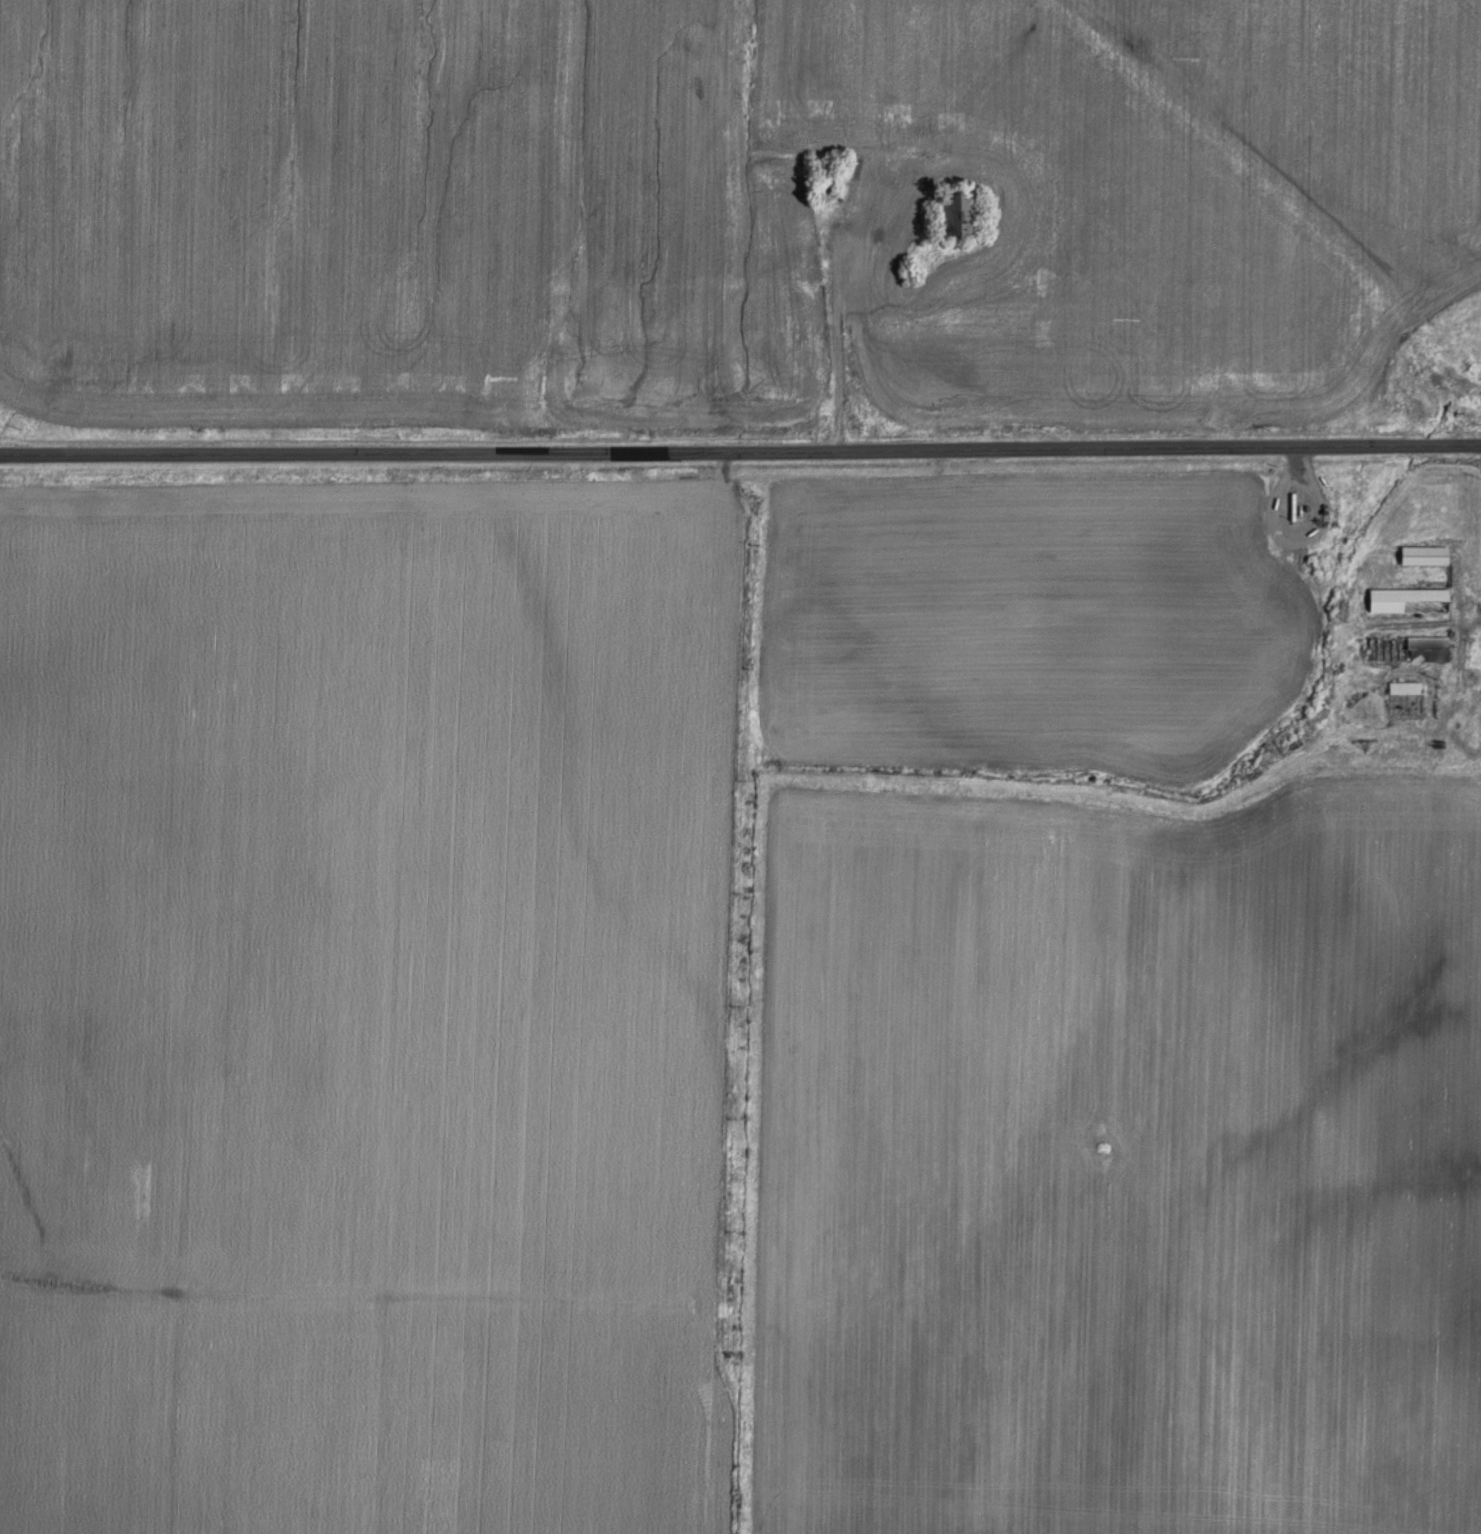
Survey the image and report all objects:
building: (824, 185)
building: (956, 214)
road: (834, 362)
road: (740, 453)
building: (1424, 555)
building: (1409, 600)
building: (1410, 649)
building: (1405, 687)
road: (1460, 690)

